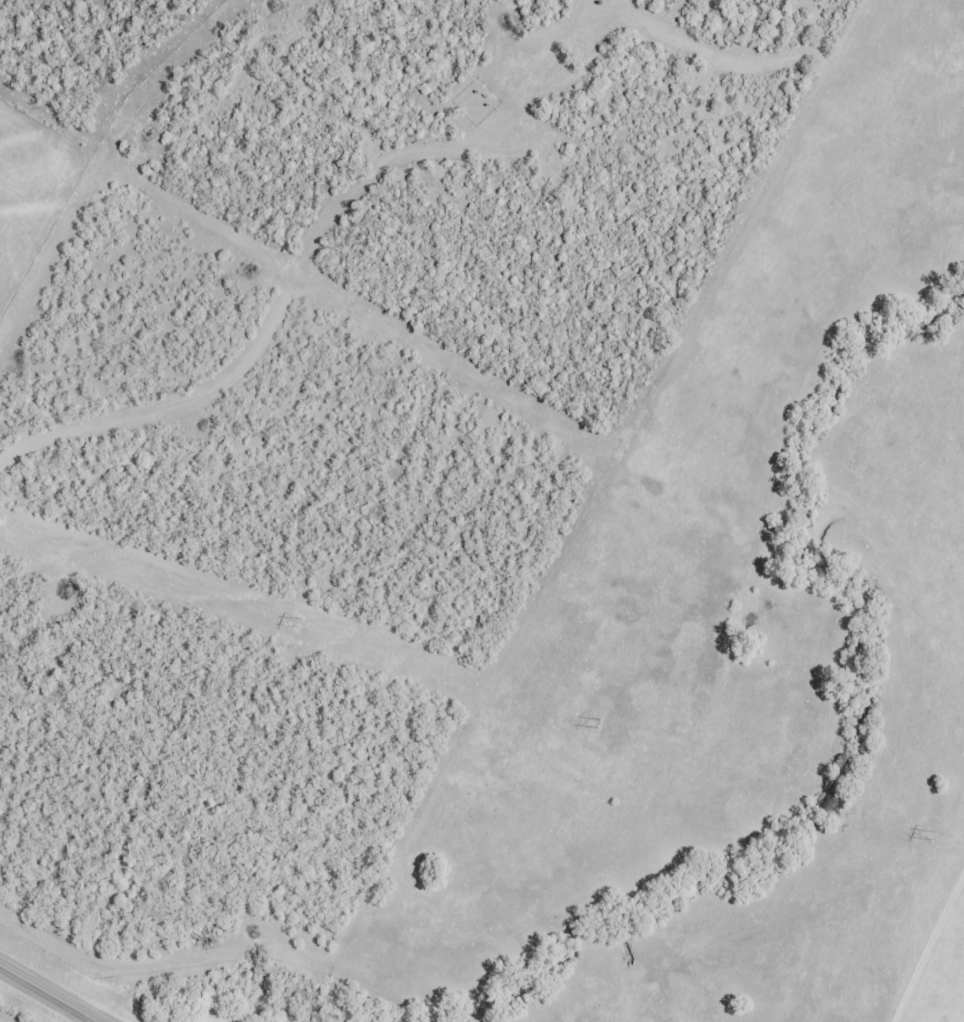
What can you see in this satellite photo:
power tower: (298, 622)
power tower: (600, 723)
power tower: (932, 834)
road: (925, 943)
road: (49, 994)

